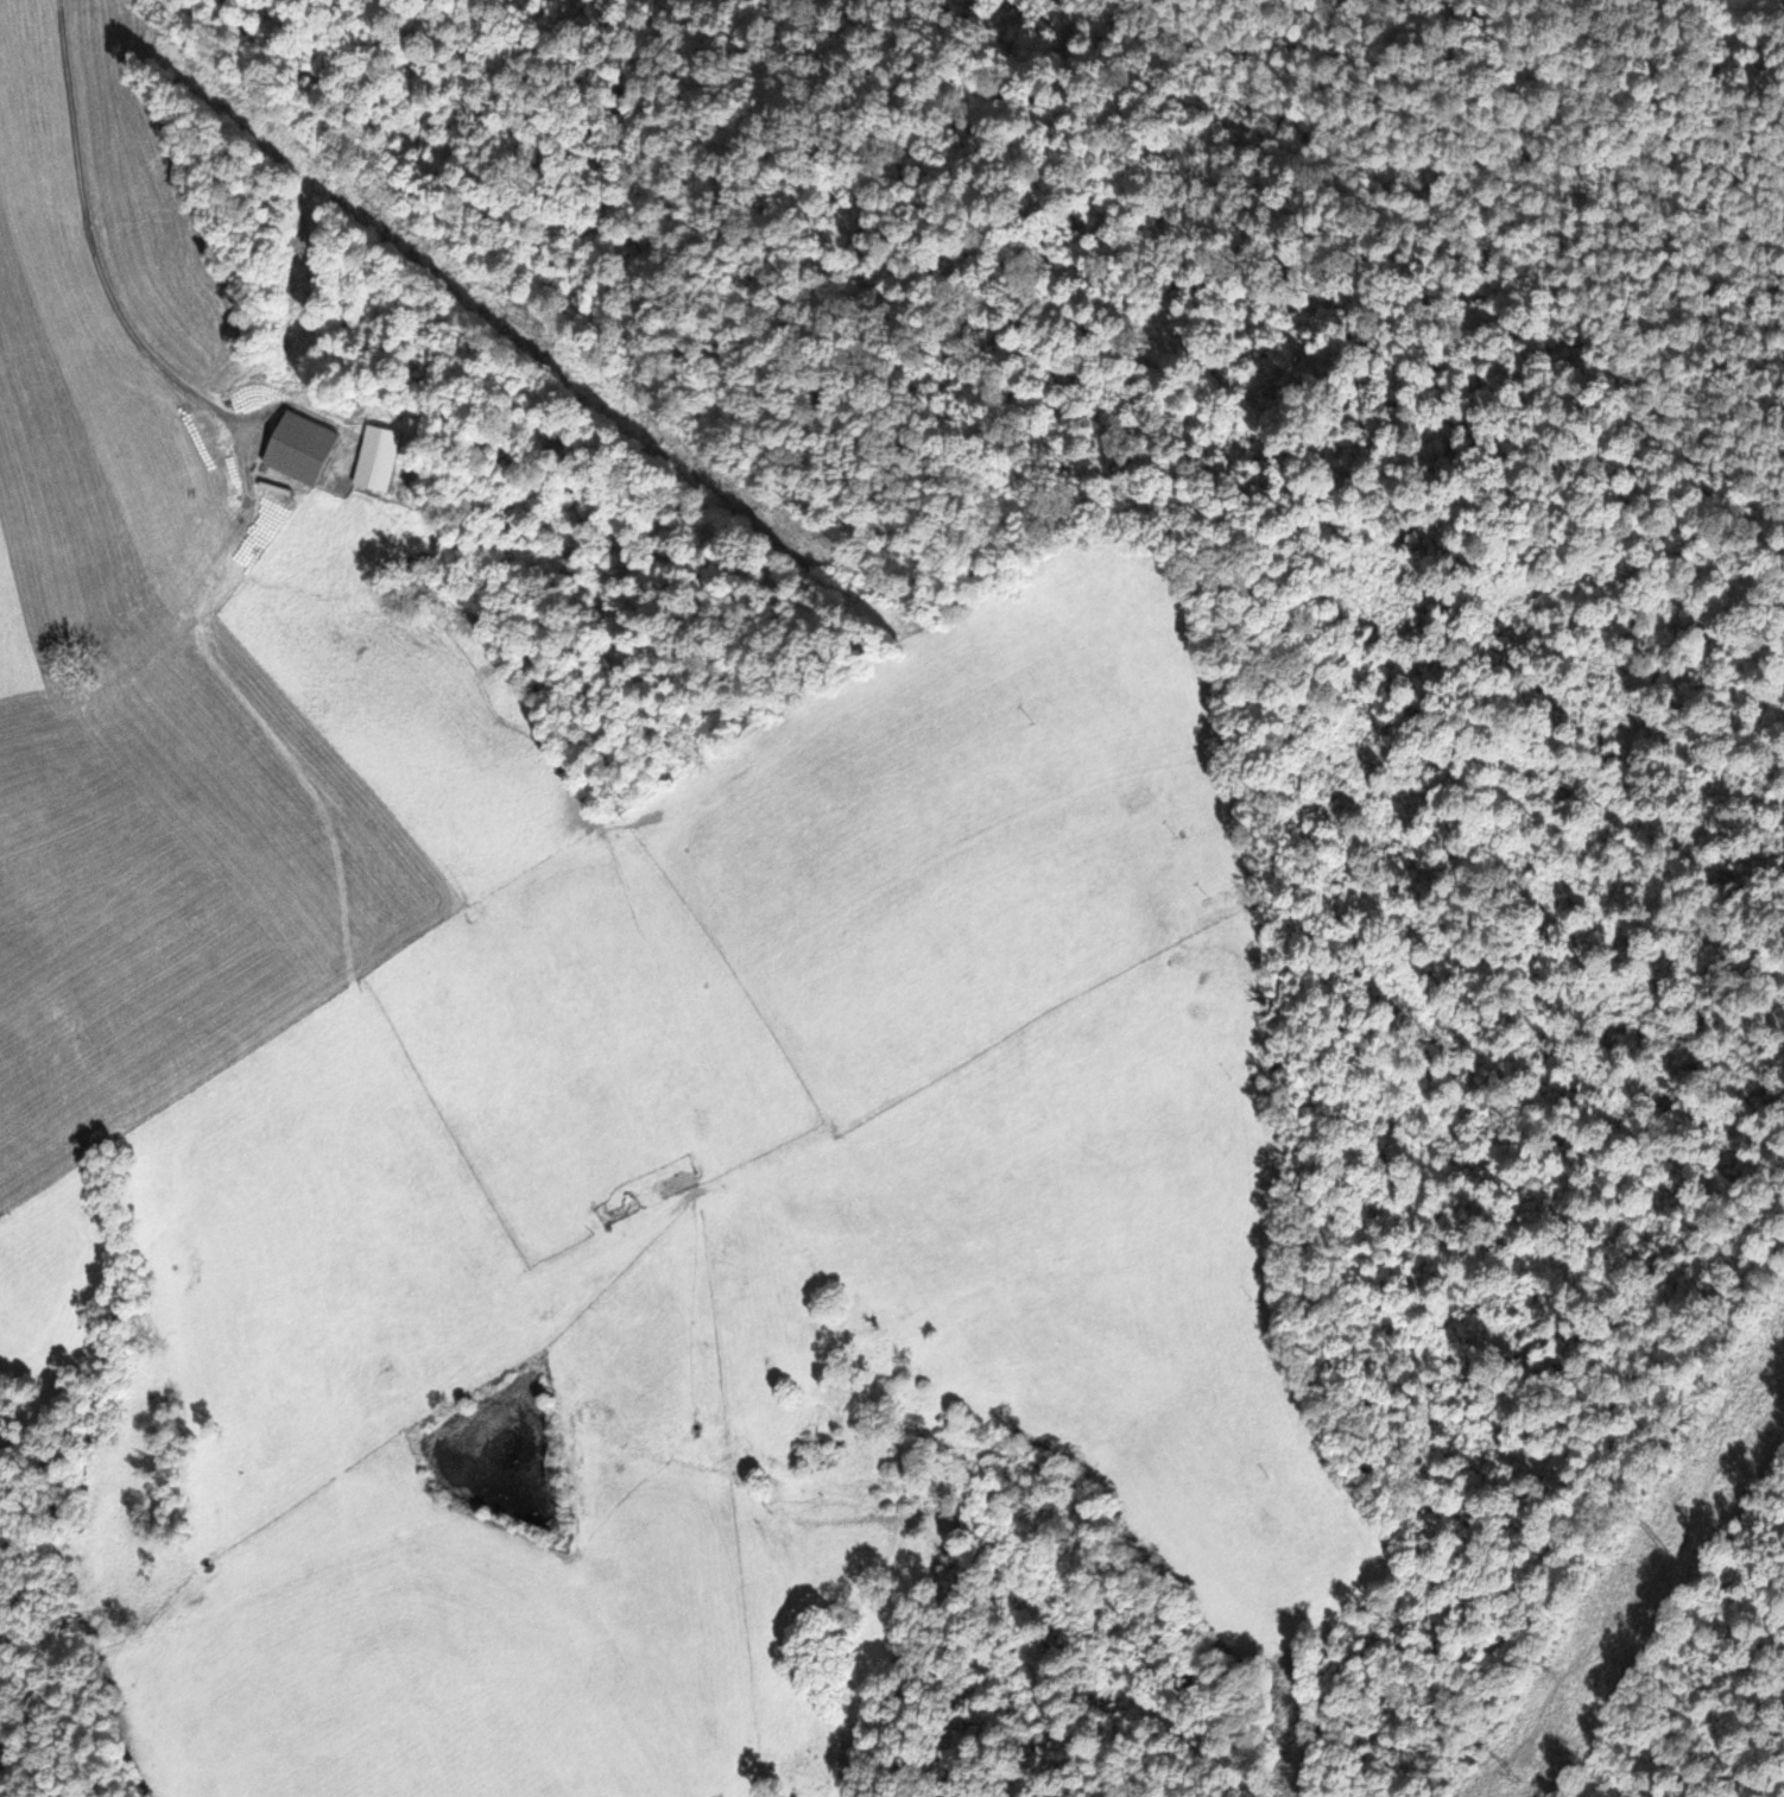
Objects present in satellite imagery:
road: (90, 251)
building: (304, 450)
power tower: (1664, 1551)
power tower: (1519, 1774)

